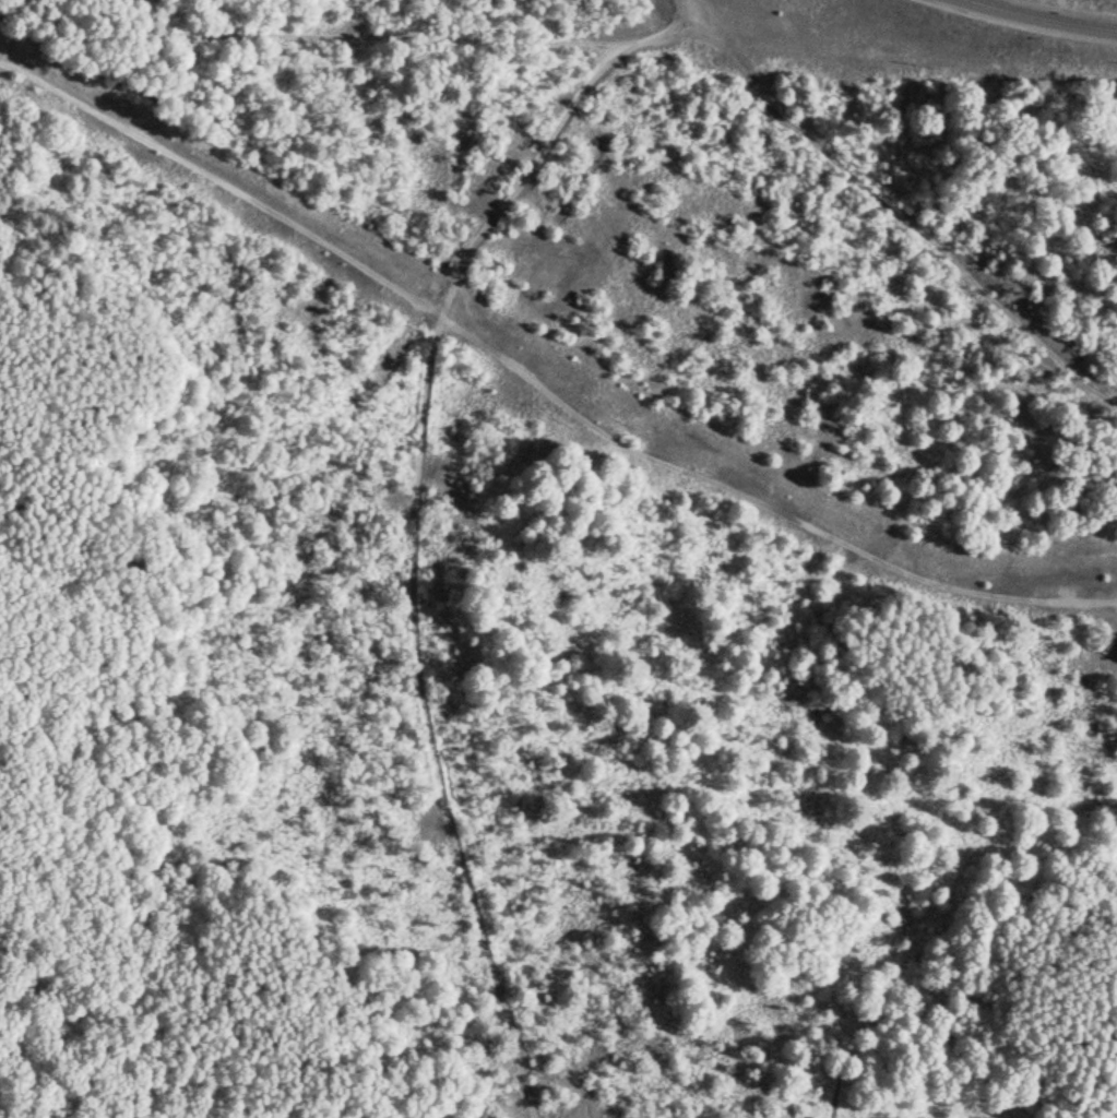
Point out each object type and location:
road: (1038, 17)
road: (305, 48)
road: (899, 216)
road: (538, 388)
road: (417, 512)
road: (661, 621)
road: (947, 1037)

